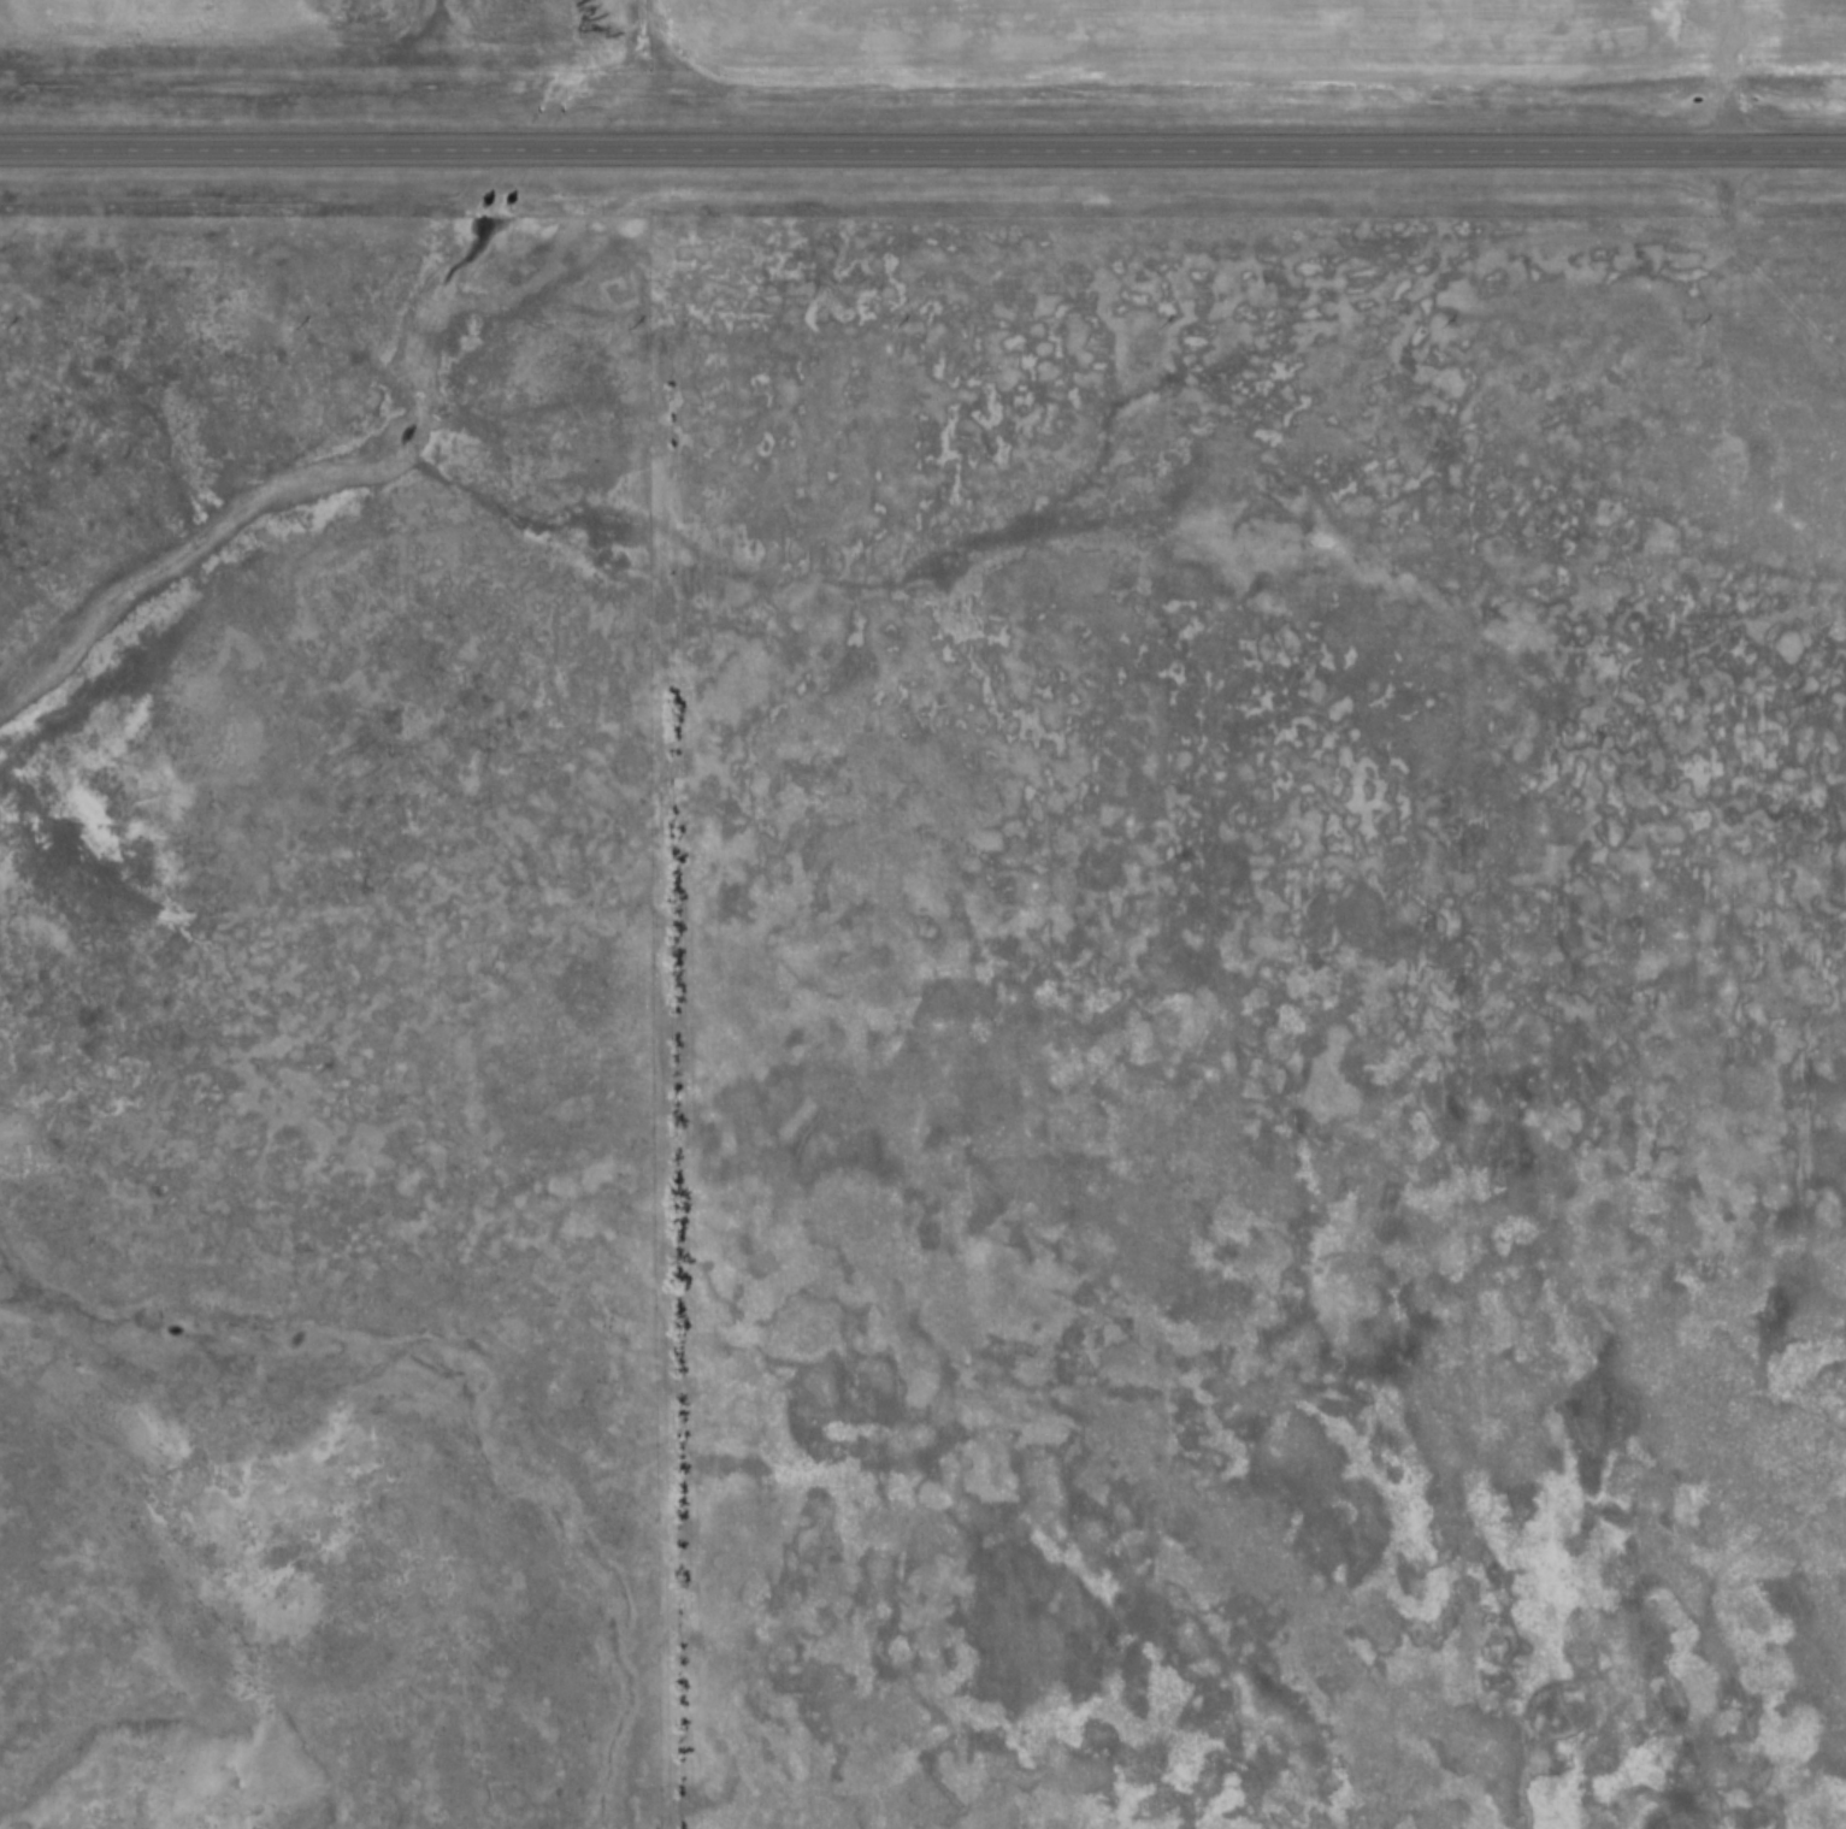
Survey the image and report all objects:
road: (922, 159)

